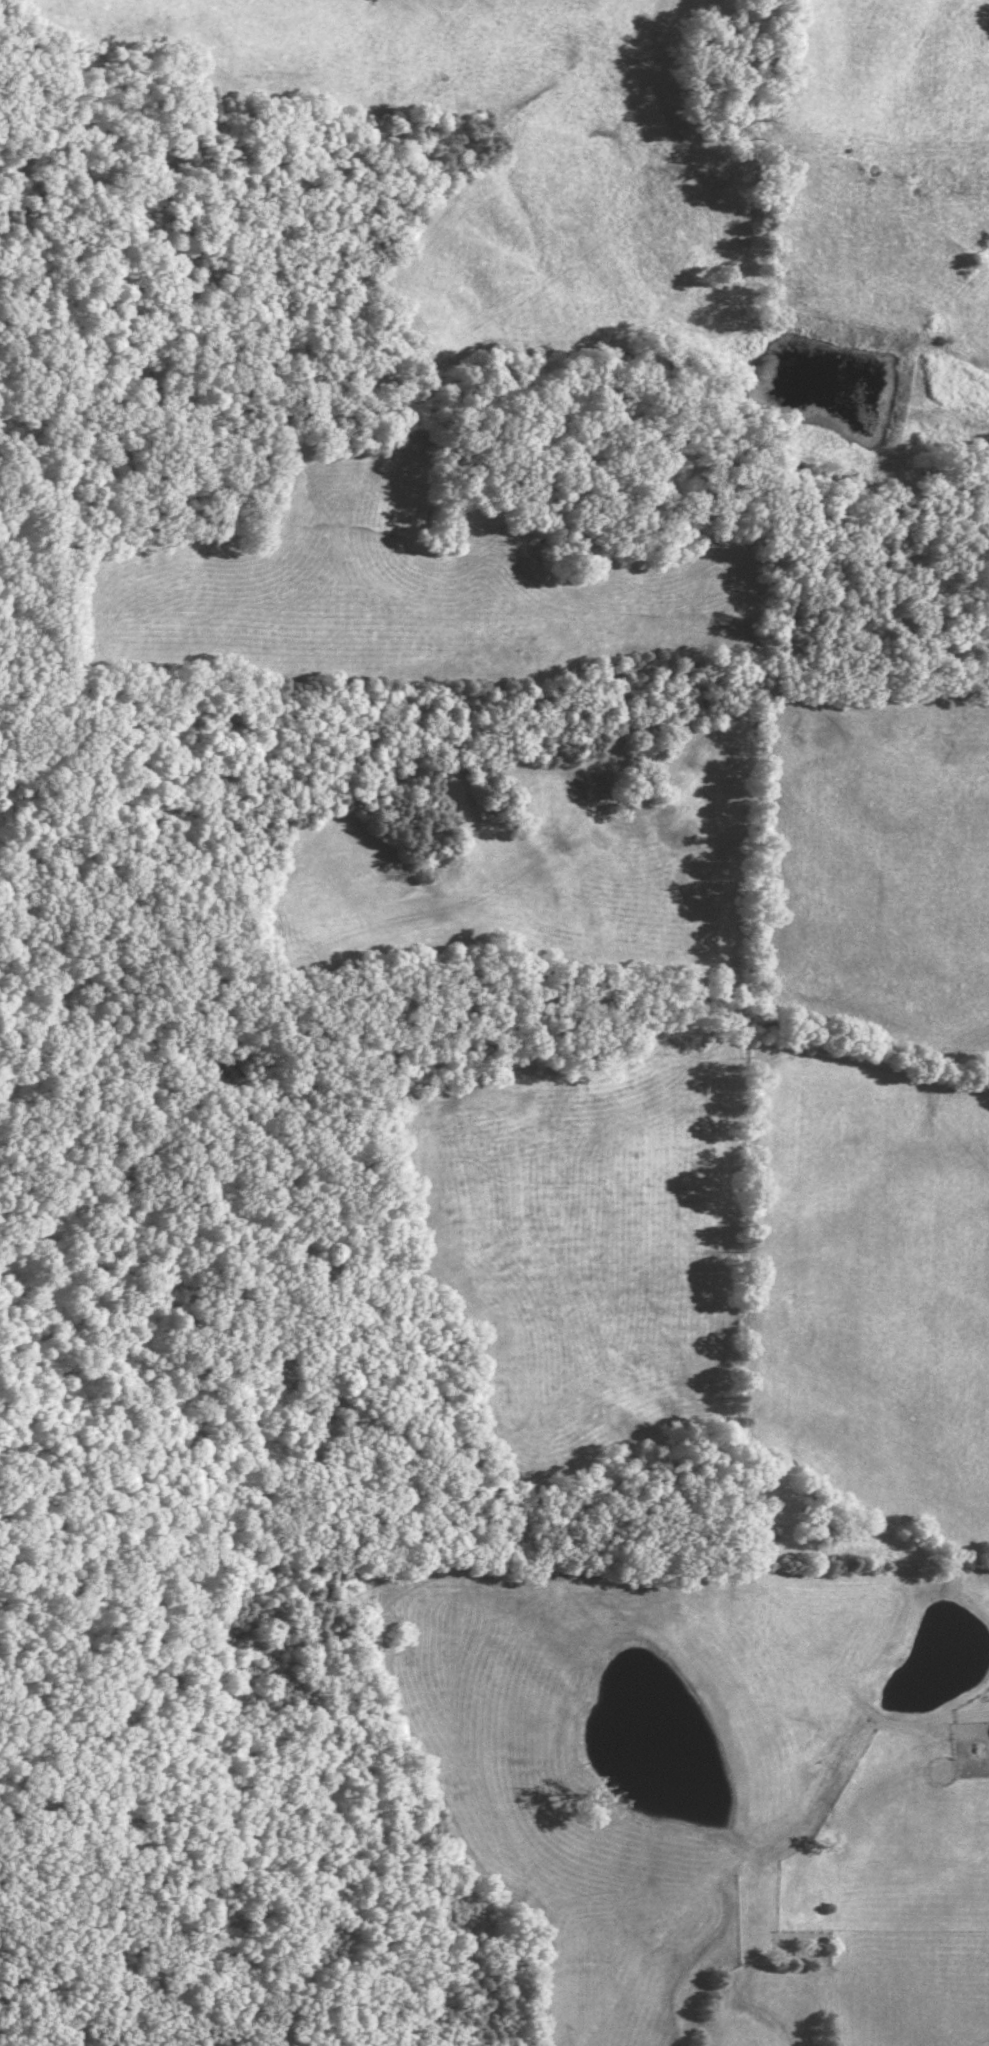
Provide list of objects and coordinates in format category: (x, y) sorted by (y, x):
road: (981, 1712)
park: (801, 1948)

